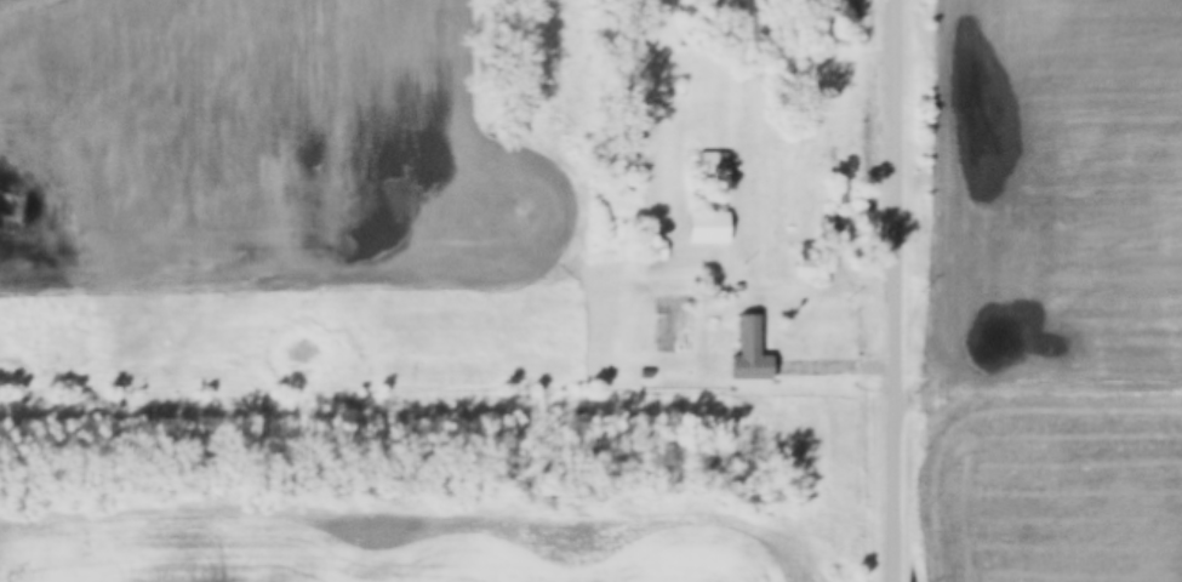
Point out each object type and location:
building: (708, 228)
building: (809, 262)
road: (895, 291)
building: (753, 353)

